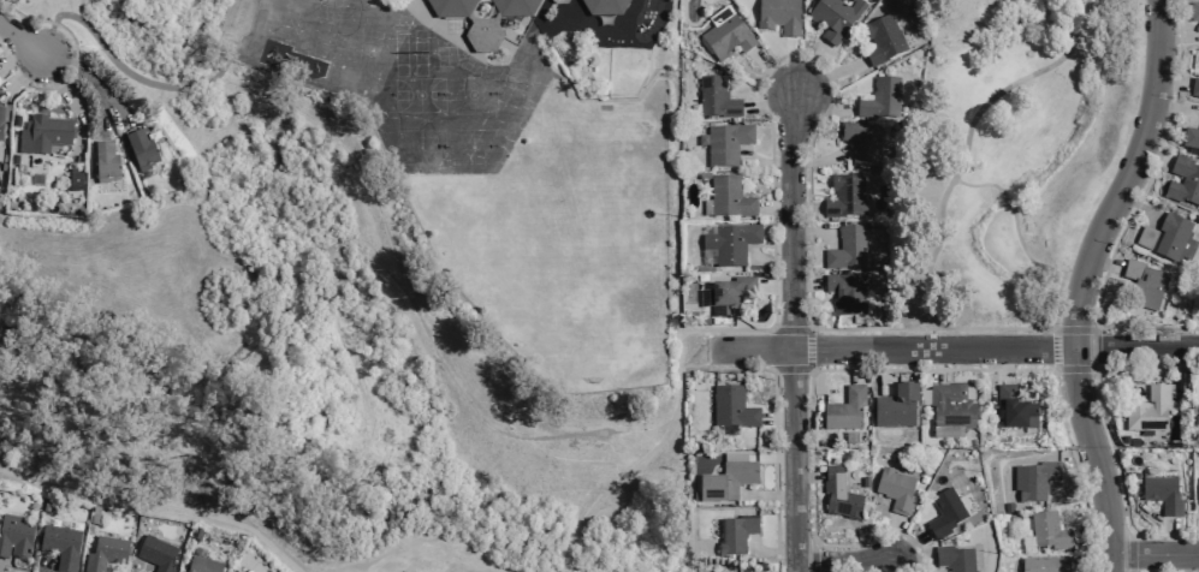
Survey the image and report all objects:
road: (1078, 5)
building: (604, 7)
building: (1194, 12)
building: (778, 16)
building: (835, 18)
building: (482, 19)
road: (1, 25)
building: (726, 37)
road: (47, 38)
building: (882, 40)
road: (1181, 40)
road: (19, 41)
road: (108, 53)
road: (13, 55)
road: (75, 64)
road: (791, 67)
road: (809, 68)
road: (773, 72)
road: (19, 75)
road: (827, 76)
road: (759, 79)
road: (91, 81)
road: (1171, 81)
road: (190, 82)
building: (1195, 88)
park: (469, 94)
park: (419, 95)
building: (716, 99)
road: (73, 100)
building: (880, 100)
road: (824, 101)
road: (771, 102)
road: (1180, 109)
building: (1, 126)
building: (43, 135)
road: (675, 138)
building: (1191, 138)
road: (512, 141)
road: (967, 142)
building: (861, 143)
building: (726, 144)
park: (421, 147)
park: (471, 147)
building: (141, 150)
park: (1005, 155)
road: (1153, 156)
road: (821, 160)
road: (766, 161)
building: (106, 163)
road: (1127, 175)
building: (37, 180)
building: (75, 181)
road: (979, 185)
building: (1185, 185)
building: (845, 197)
building: (729, 198)
road: (1007, 199)
road: (1141, 207)
road: (774, 208)
road: (805, 208)
road: (1132, 213)
road: (815, 228)
building: (1169, 239)
building: (731, 244)
building: (847, 249)
road: (767, 261)
road: (1104, 264)
building: (1145, 284)
road: (776, 285)
road: (807, 285)
building: (847, 294)
building: (730, 296)
road: (410, 304)
road: (1096, 327)
road: (1003, 328)
road: (1052, 328)
road: (791, 329)
road: (793, 332)
park: (298, 348)
road: (716, 348)
road: (1055, 348)
road: (1094, 348)
road: (1136, 348)
road: (717, 350)
road: (809, 350)
road: (897, 350)
road: (856, 365)
road: (936, 365)
road: (1007, 365)
road: (725, 369)
road: (793, 369)
road: (882, 370)
road: (1053, 370)
road: (1096, 370)
road: (878, 371)
road: (1127, 375)
building: (734, 407)
building: (951, 407)
building: (896, 409)
building: (1015, 409)
building: (845, 410)
building: (1148, 411)
road: (778, 419)
road: (1108, 435)
building: (1124, 441)
building: (1133, 442)
road: (642, 458)
road: (778, 458)
road: (1097, 459)
road: (774, 470)
road: (1080, 471)
road: (806, 476)
building: (728, 479)
building: (1038, 481)
building: (895, 489)
building: (839, 494)
building: (1163, 495)
road: (768, 497)
road: (156, 505)
building: (1008, 507)
road: (1086, 512)
building: (944, 514)
building: (1014, 517)
building: (1049, 531)
building: (736, 535)
building: (13, 536)
road: (1171, 537)
road: (892, 540)
building: (60, 547)
road: (908, 548)
road: (771, 550)
road: (1132, 550)
building: (106, 553)
building: (156, 553)
road: (1153, 554)
road: (813, 555)
road: (909, 558)
building: (955, 559)
road: (1186, 562)
road: (843, 564)
road: (43, 565)
building: (203, 565)
building: (1044, 565)
road: (896, 567)
building: (180, 571)

